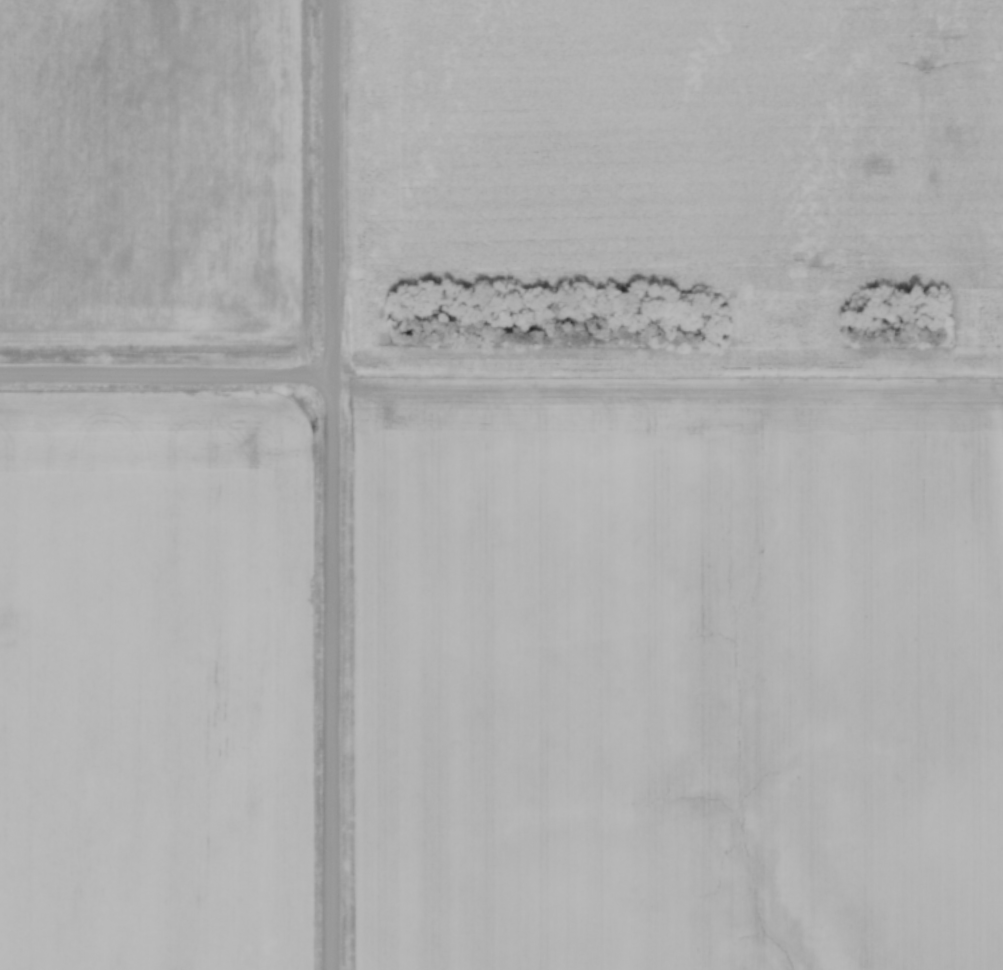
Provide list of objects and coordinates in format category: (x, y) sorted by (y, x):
crop: (678, 138)
road: (165, 379)
road: (329, 484)

